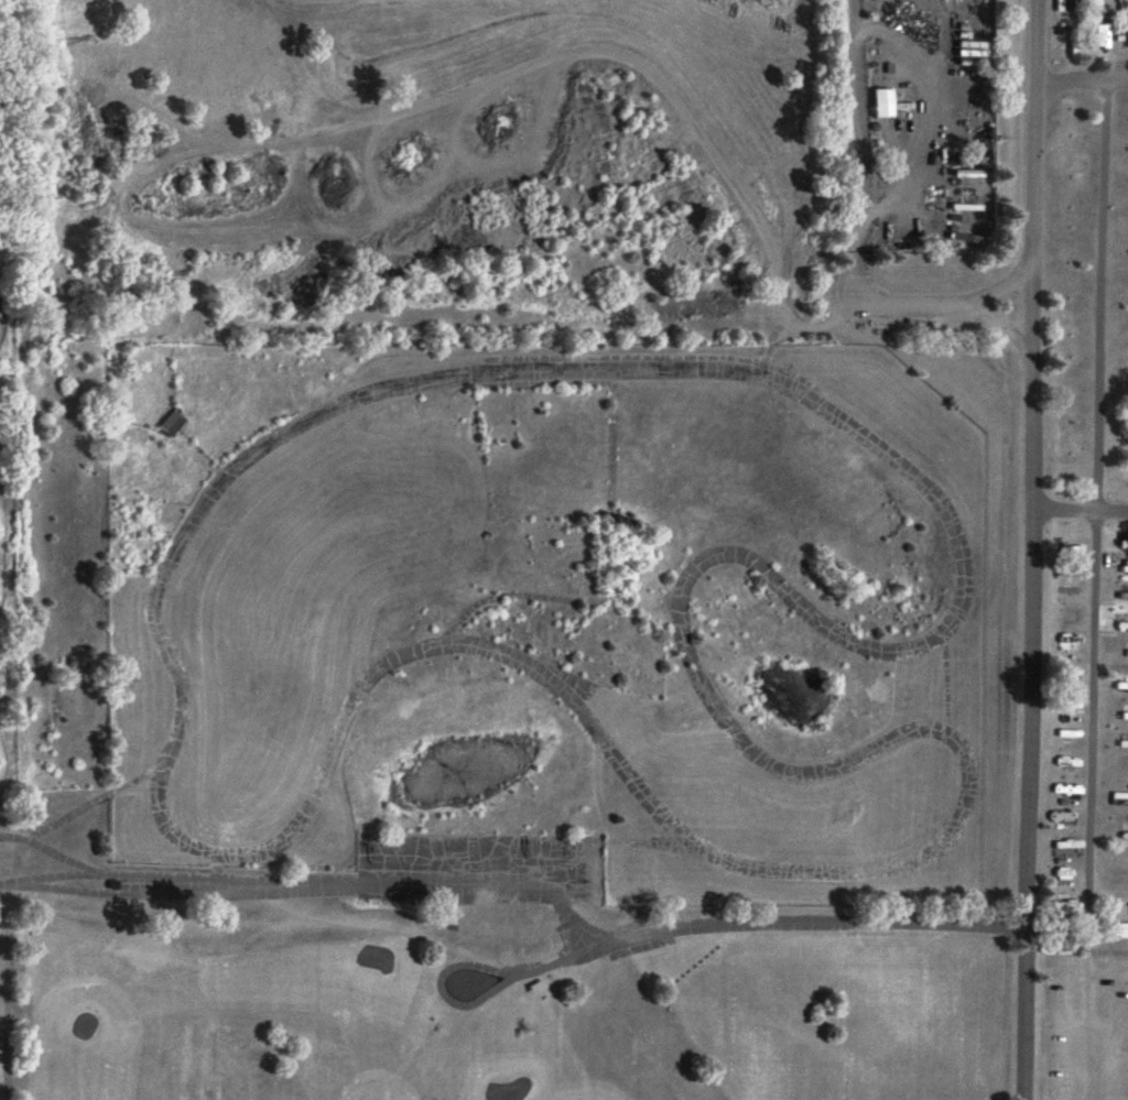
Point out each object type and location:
building: (1095, 7)
road: (1081, 83)
building: (877, 102)
road: (677, 115)
road: (859, 153)
road: (997, 287)
building: (1127, 361)
building: (164, 423)
road: (1093, 503)
road: (1077, 510)
road: (1027, 549)
road: (790, 591)
building: (1121, 686)
building: (1069, 789)
building: (1121, 798)
road: (90, 804)
building: (1124, 863)
road: (217, 871)
road: (58, 876)
road: (307, 886)
road: (77, 890)
building: (1071, 906)
road: (674, 928)
building: (1124, 929)

